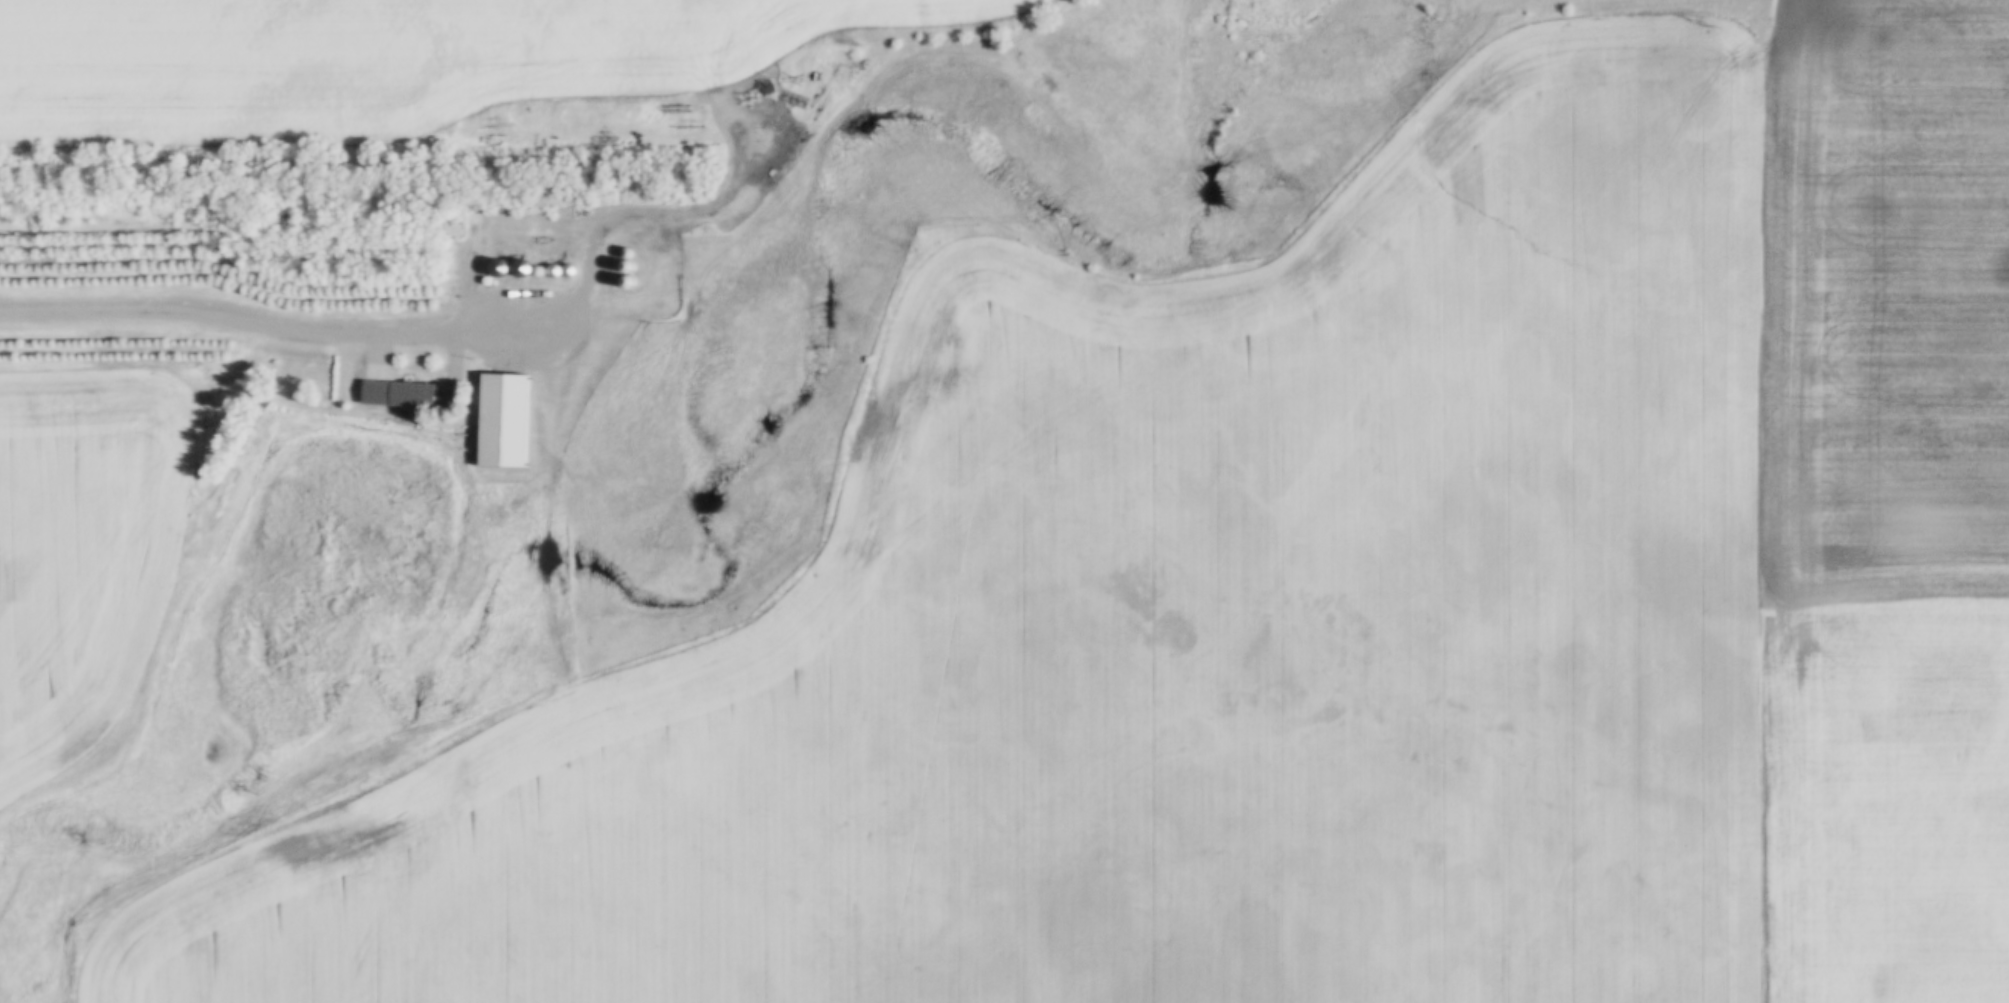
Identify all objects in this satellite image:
road: (608, 207)
building: (475, 224)
building: (563, 271)
road: (265, 318)
building: (397, 394)
building: (502, 420)

